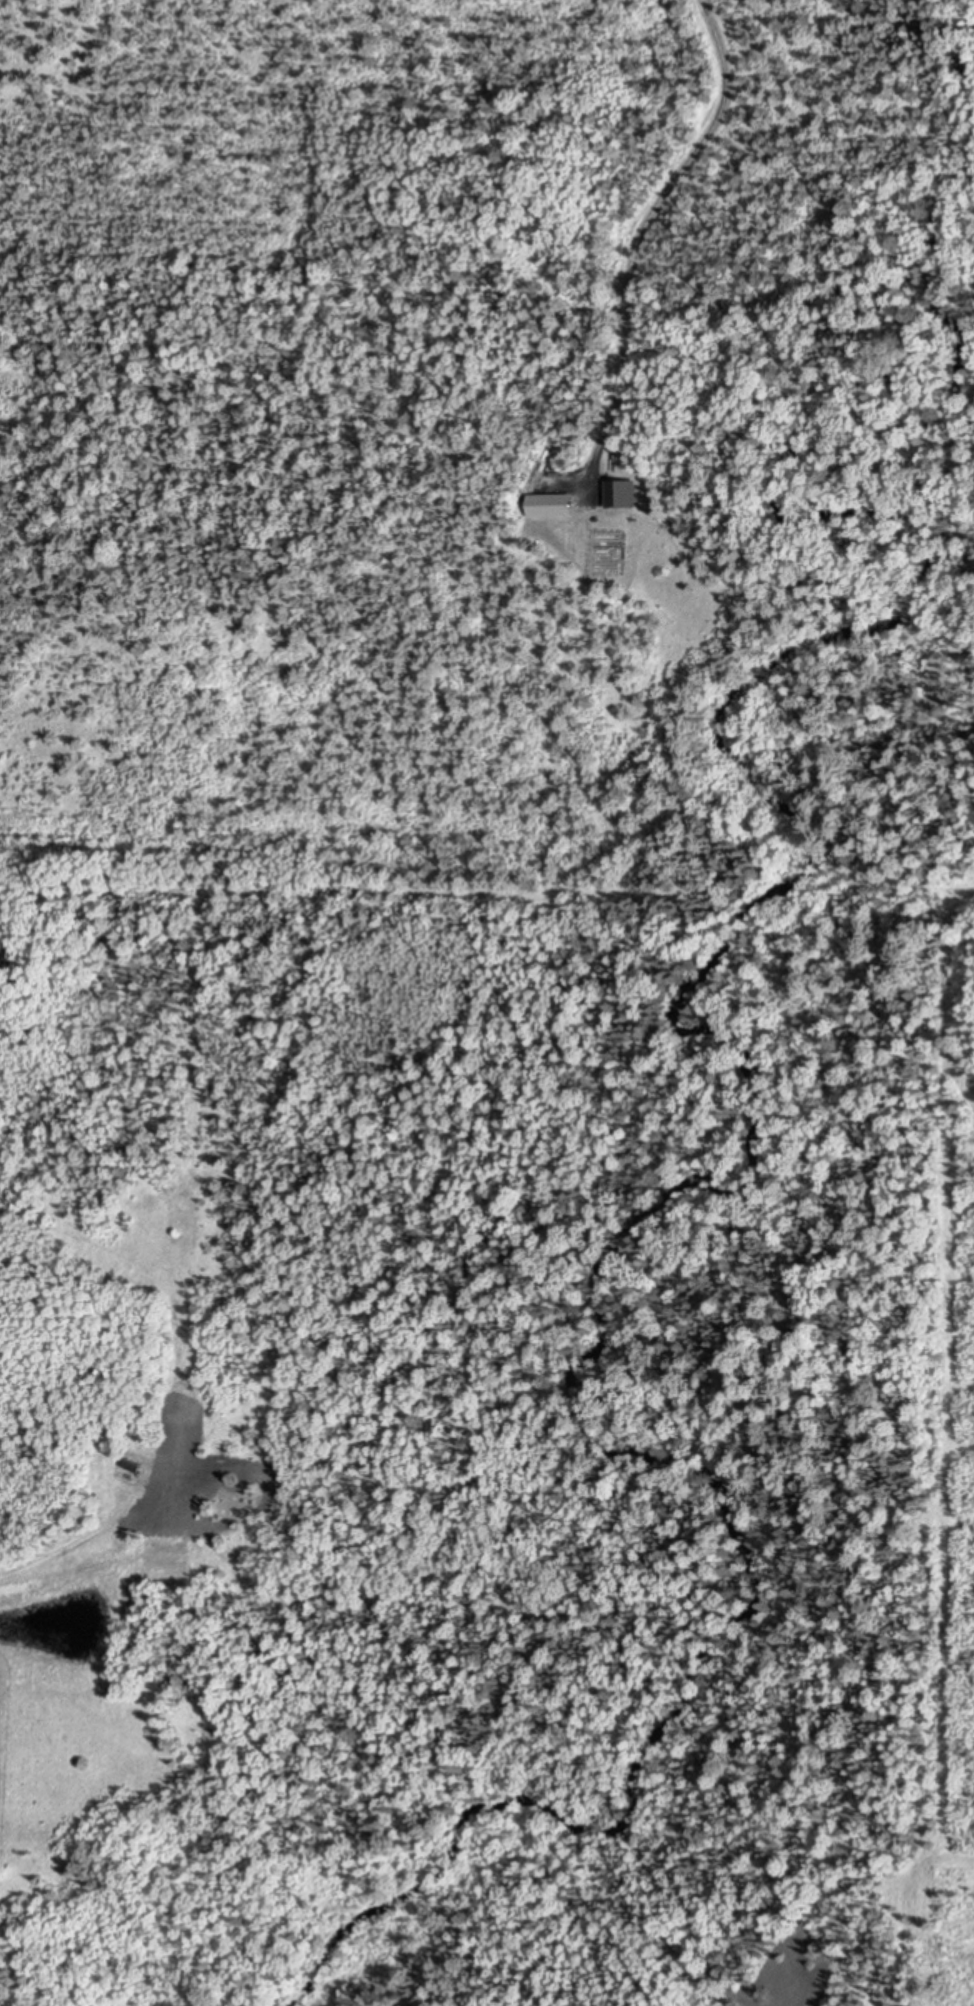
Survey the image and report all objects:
road: (639, 239)
river: (950, 260)
building: (569, 298)
building: (624, 495)
river: (758, 1201)
building: (132, 1462)
building: (131, 1467)

